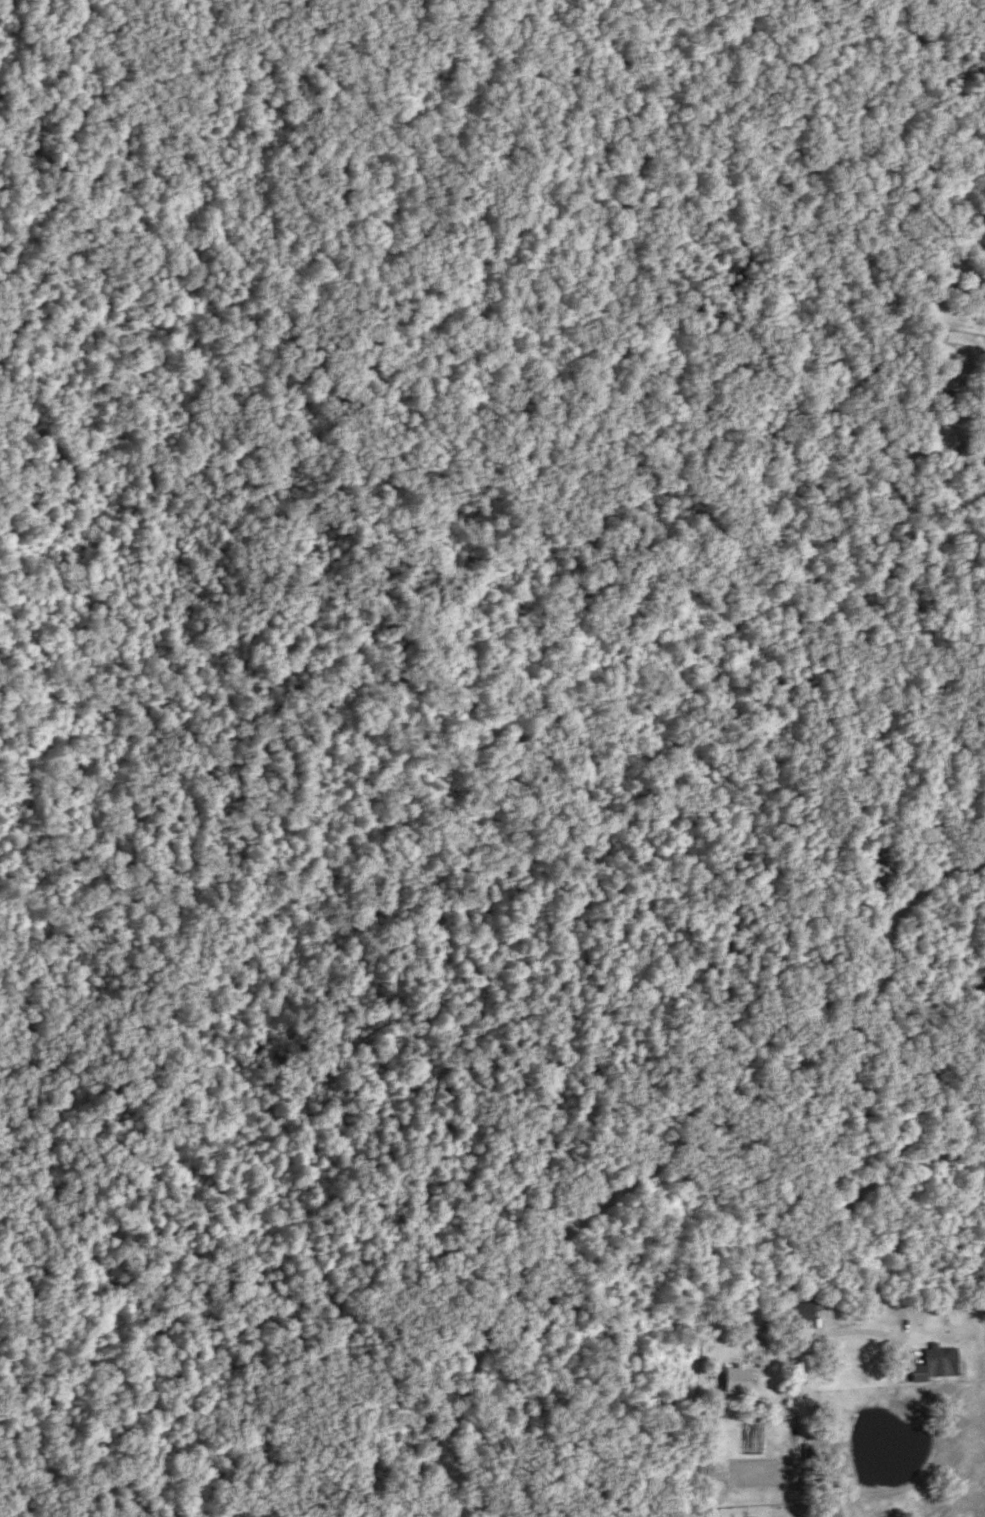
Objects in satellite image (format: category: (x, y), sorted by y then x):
building: (982, 397)
road: (693, 1134)
road: (865, 1193)
road: (804, 1312)
building: (802, 1315)
road: (867, 1336)
road: (762, 1343)
building: (934, 1362)
building: (736, 1380)
road: (796, 1393)
road: (69, 1481)
road: (463, 1482)
road: (411, 1484)

